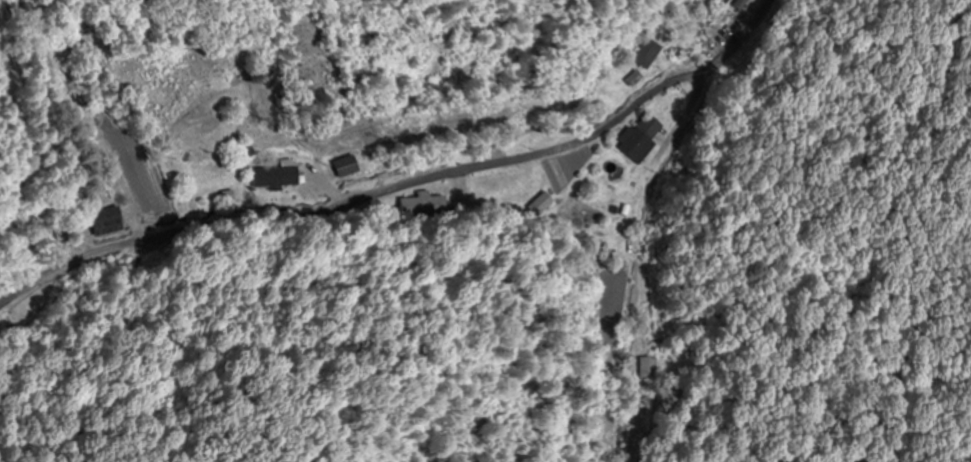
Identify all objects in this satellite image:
building: (644, 54)
building: (638, 140)
building: (344, 168)
building: (273, 177)
road: (402, 186)
building: (423, 204)

